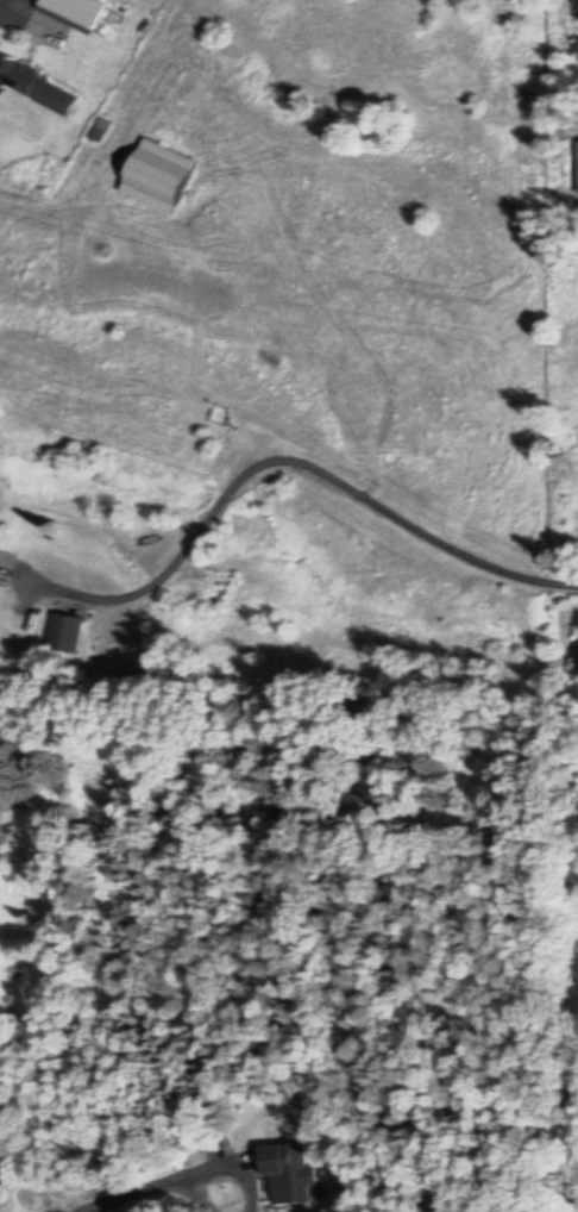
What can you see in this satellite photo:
building: (73, 11)
building: (577, 48)
building: (36, 86)
building: (155, 174)
road: (303, 466)
building: (0, 520)
building: (63, 631)
building: (287, 1170)
road: (168, 1180)

